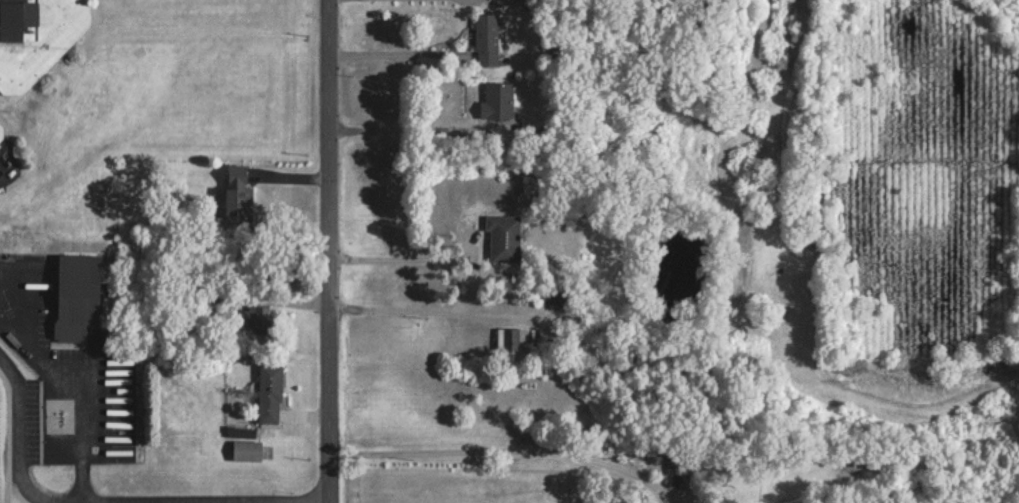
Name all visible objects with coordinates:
road: (409, 9)
building: (36, 37)
building: (487, 39)
road: (388, 69)
building: (498, 100)
building: (1, 132)
road: (400, 143)
road: (6, 166)
building: (238, 195)
building: (504, 237)
road: (330, 251)
road: (405, 275)
building: (77, 295)
building: (559, 299)
road: (427, 329)
building: (511, 337)
building: (270, 393)
parking lot: (33, 421)
road: (84, 434)
building: (247, 450)
building: (683, 464)
road: (491, 470)
road: (104, 500)
road: (204, 502)

